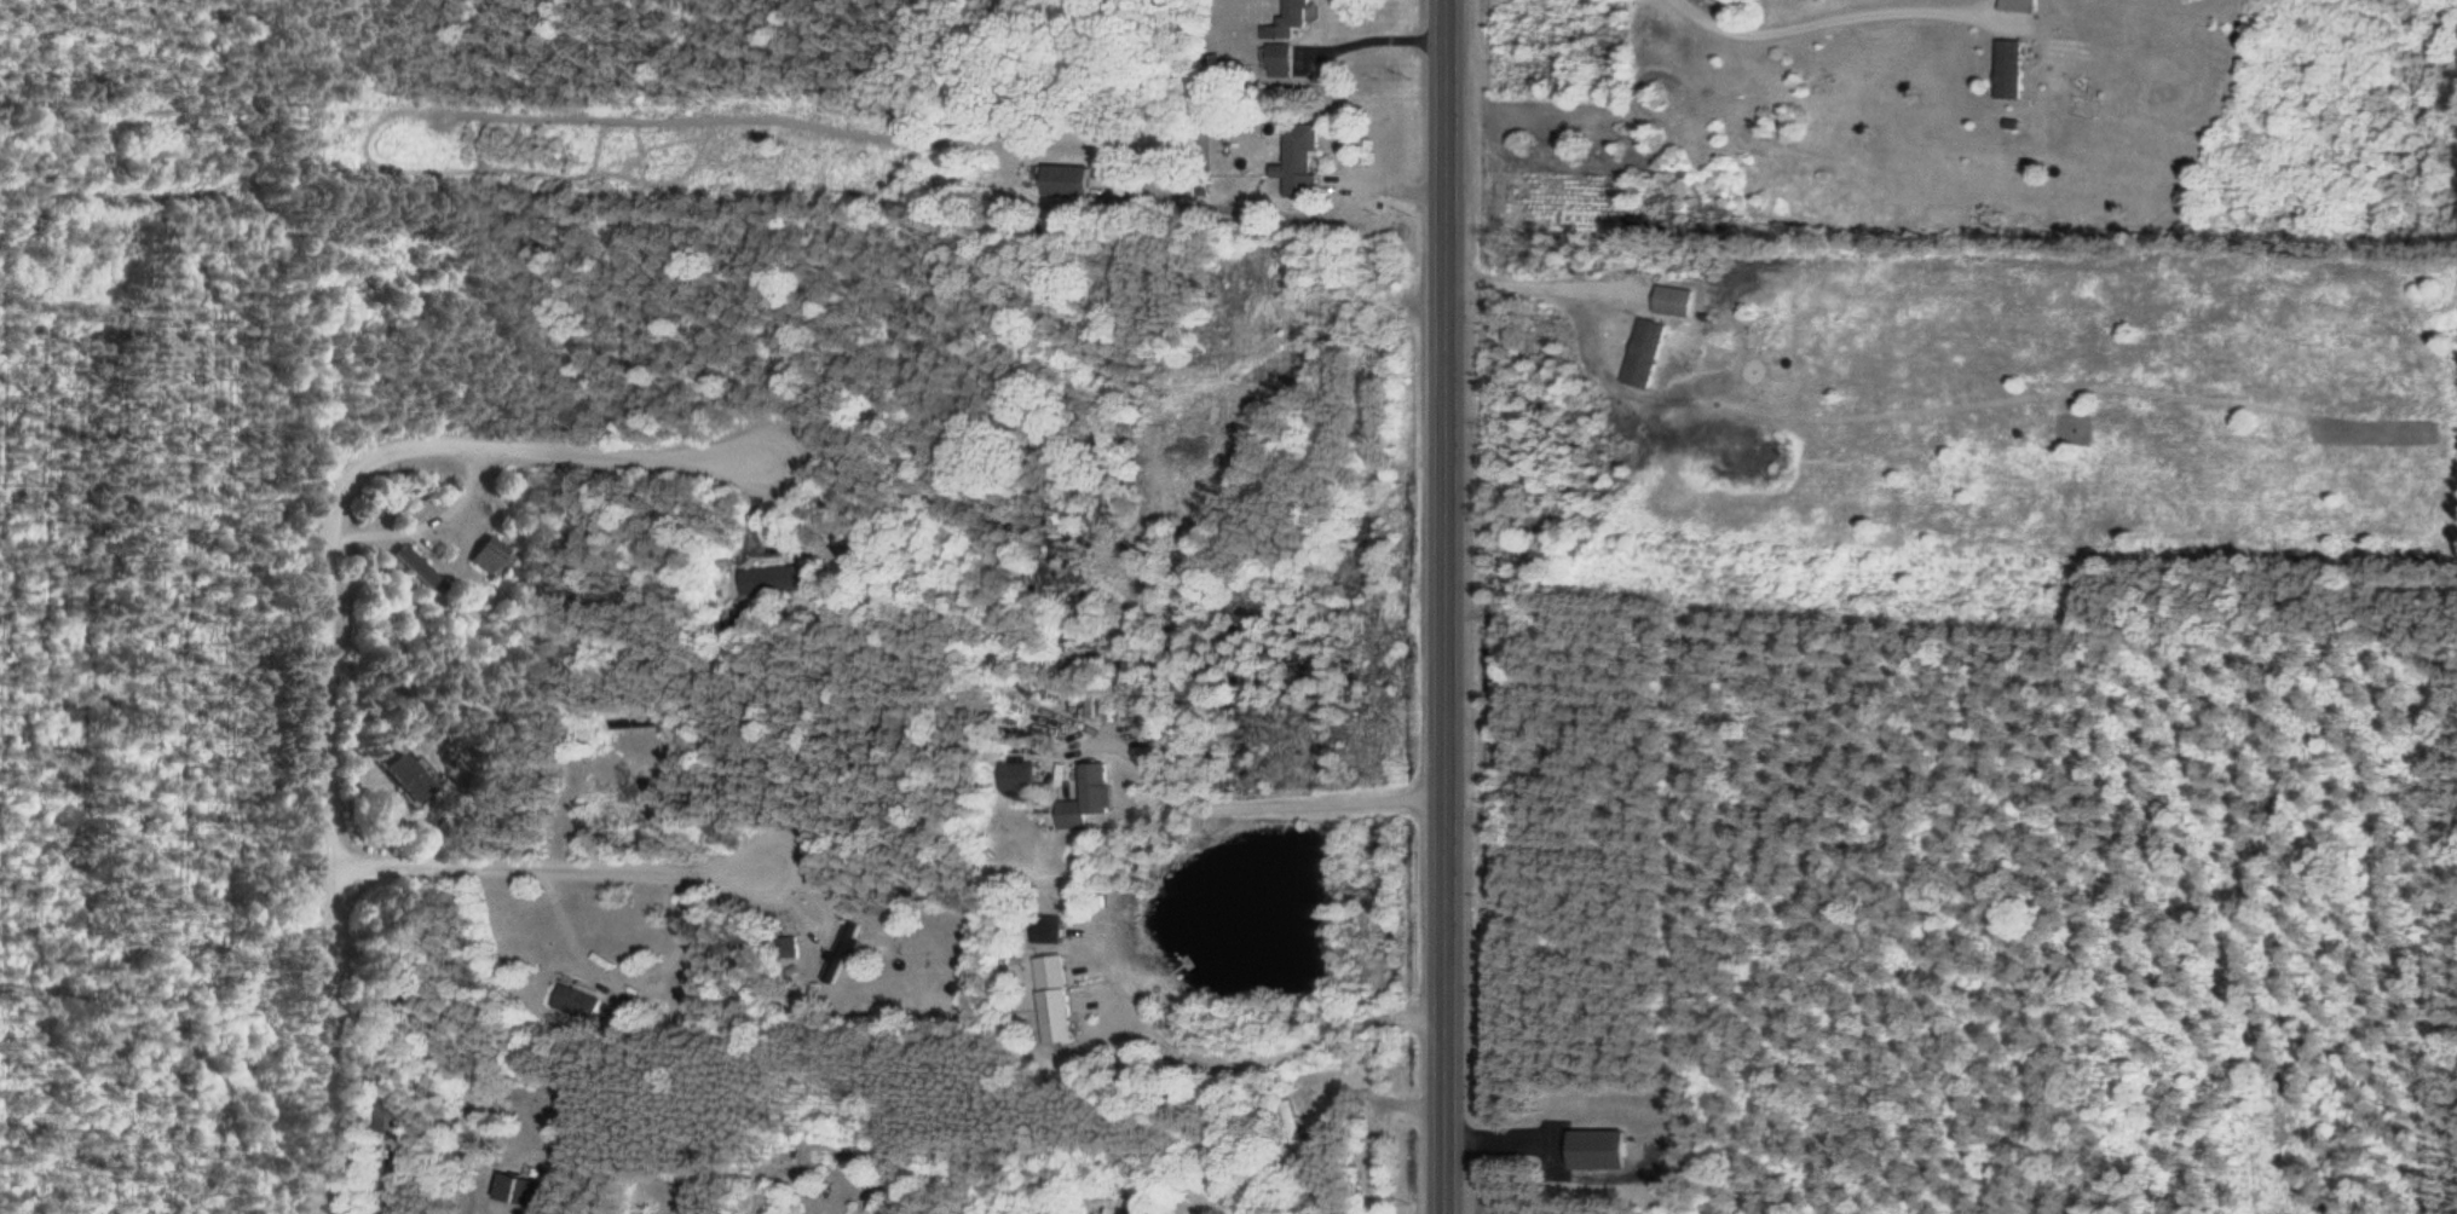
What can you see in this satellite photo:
building: (1286, 21)
building: (1275, 60)
building: (2005, 70)
building: (1297, 163)
building: (1065, 183)
road: (1245, 212)
building: (1668, 301)
building: (1639, 353)
road: (543, 450)
road: (423, 526)
building: (485, 557)
building: (434, 579)
building: (775, 580)
road: (1444, 606)
building: (396, 777)
building: (1015, 777)
building: (1084, 797)
road: (325, 848)
road: (544, 871)
building: (785, 948)
building: (840, 952)
building: (567, 995)
building: (1052, 999)
building: (390, 1115)
building: (1291, 1123)
building: (1594, 1150)
building: (513, 1190)

